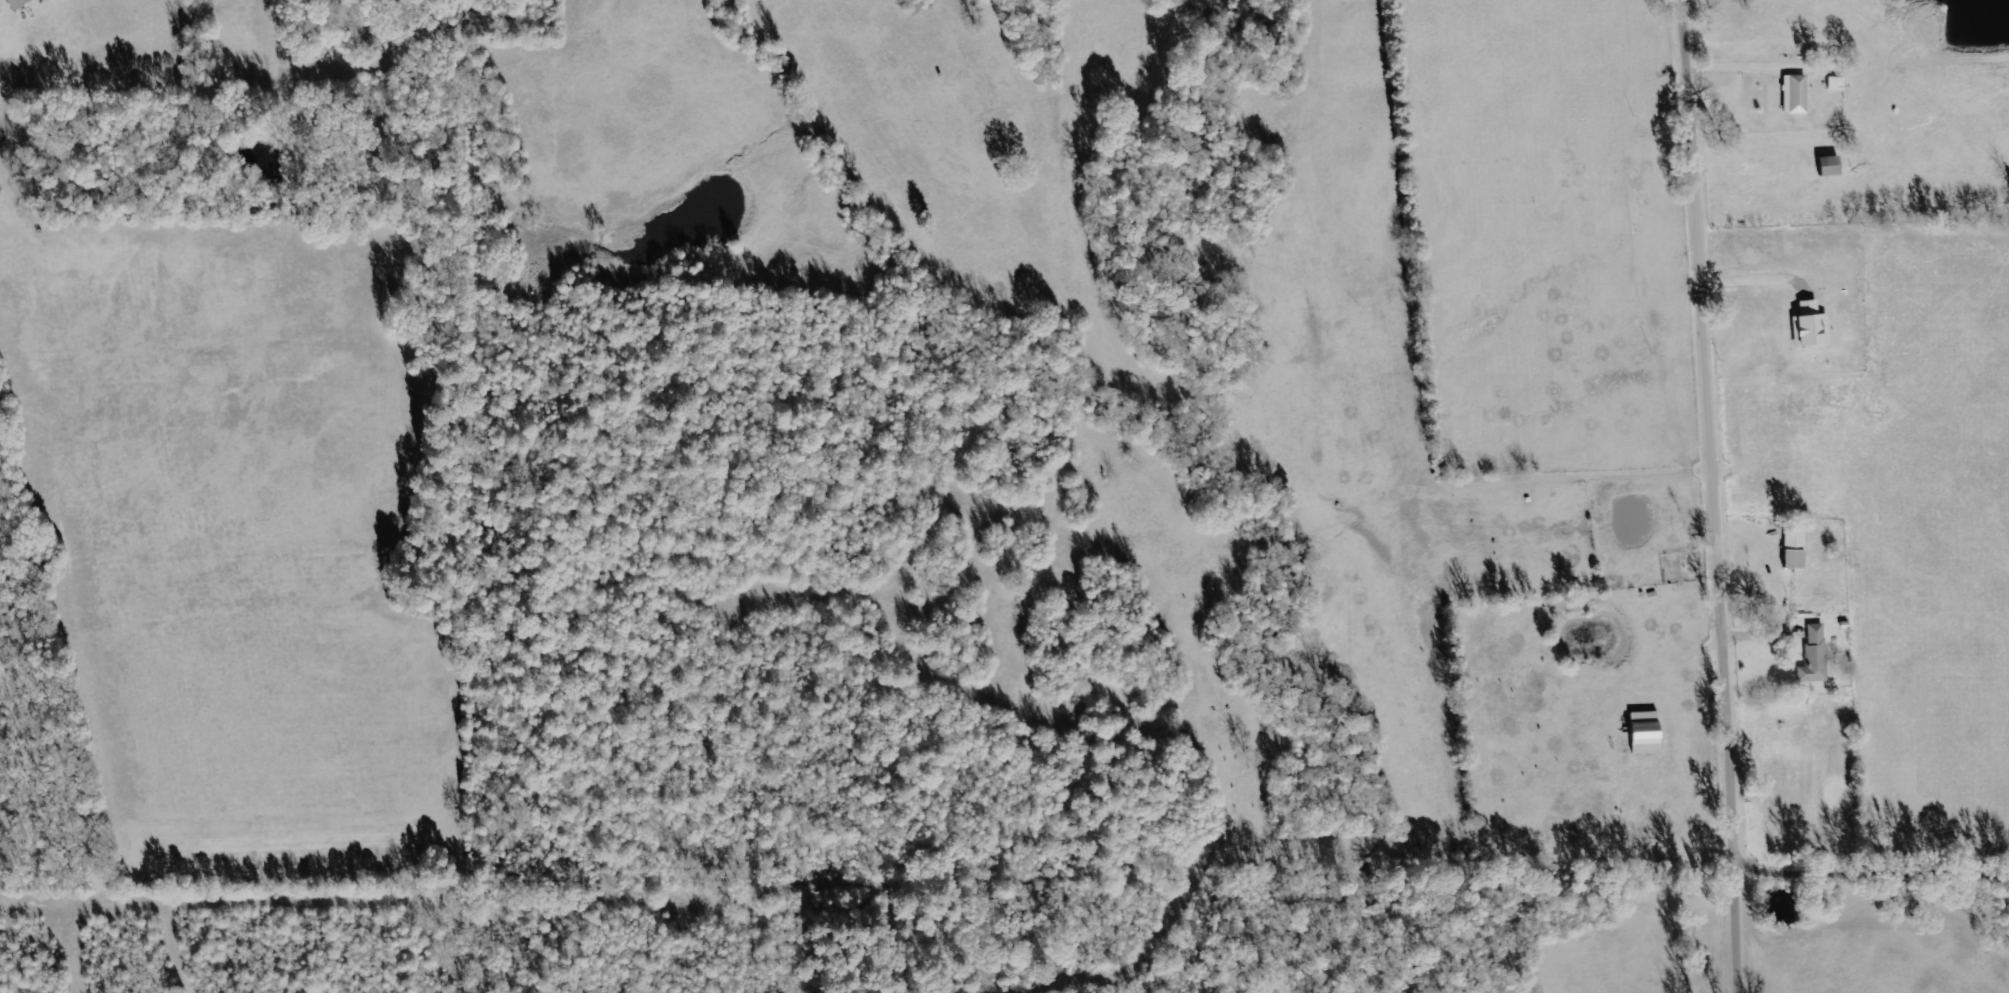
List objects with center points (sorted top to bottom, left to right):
building: (1834, 85)
building: (1793, 95)
building: (1827, 167)
building: (1809, 327)
road: (1721, 496)
building: (1792, 547)
building: (1813, 656)
building: (1643, 734)
road: (1874, 876)

